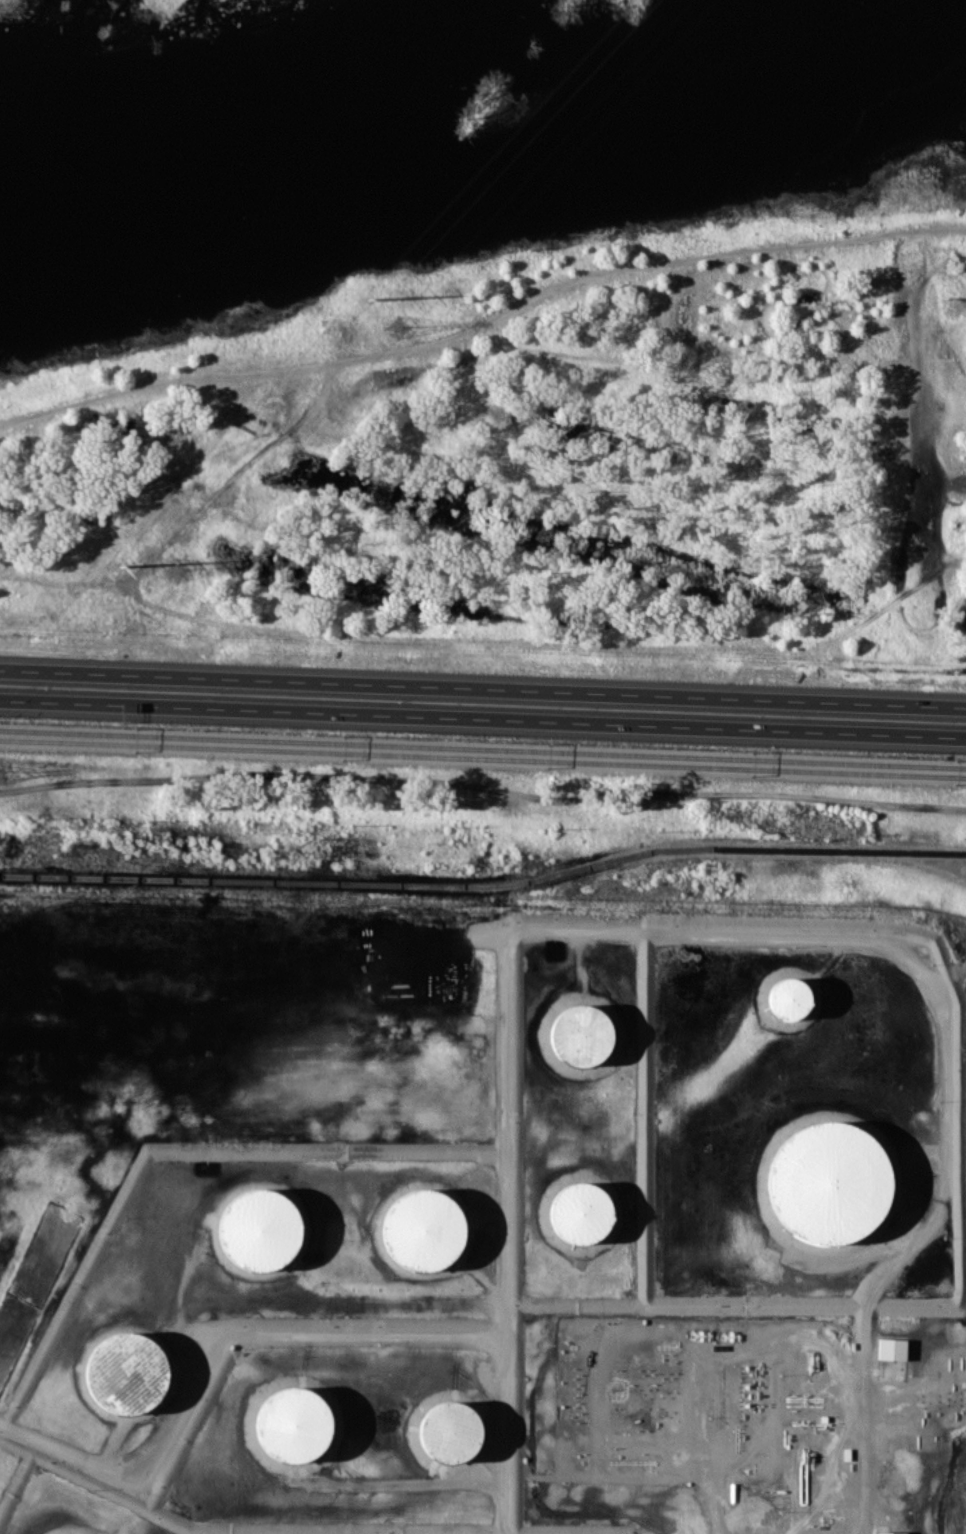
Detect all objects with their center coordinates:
river: (489, 189)
power tower: (367, 298)
railway: (486, 332)
power tower: (119, 565)
road: (489, 635)
road: (141, 673)
road: (624, 692)
road: (141, 703)
road: (624, 722)
railway: (483, 750)
railway: (483, 761)
railway: (485, 887)
building: (788, 997)
building: (580, 1035)
building: (828, 1182)
building: (580, 1212)
road: (292, 1330)
building: (891, 1348)
building: (292, 1424)
building: (891, 1532)

